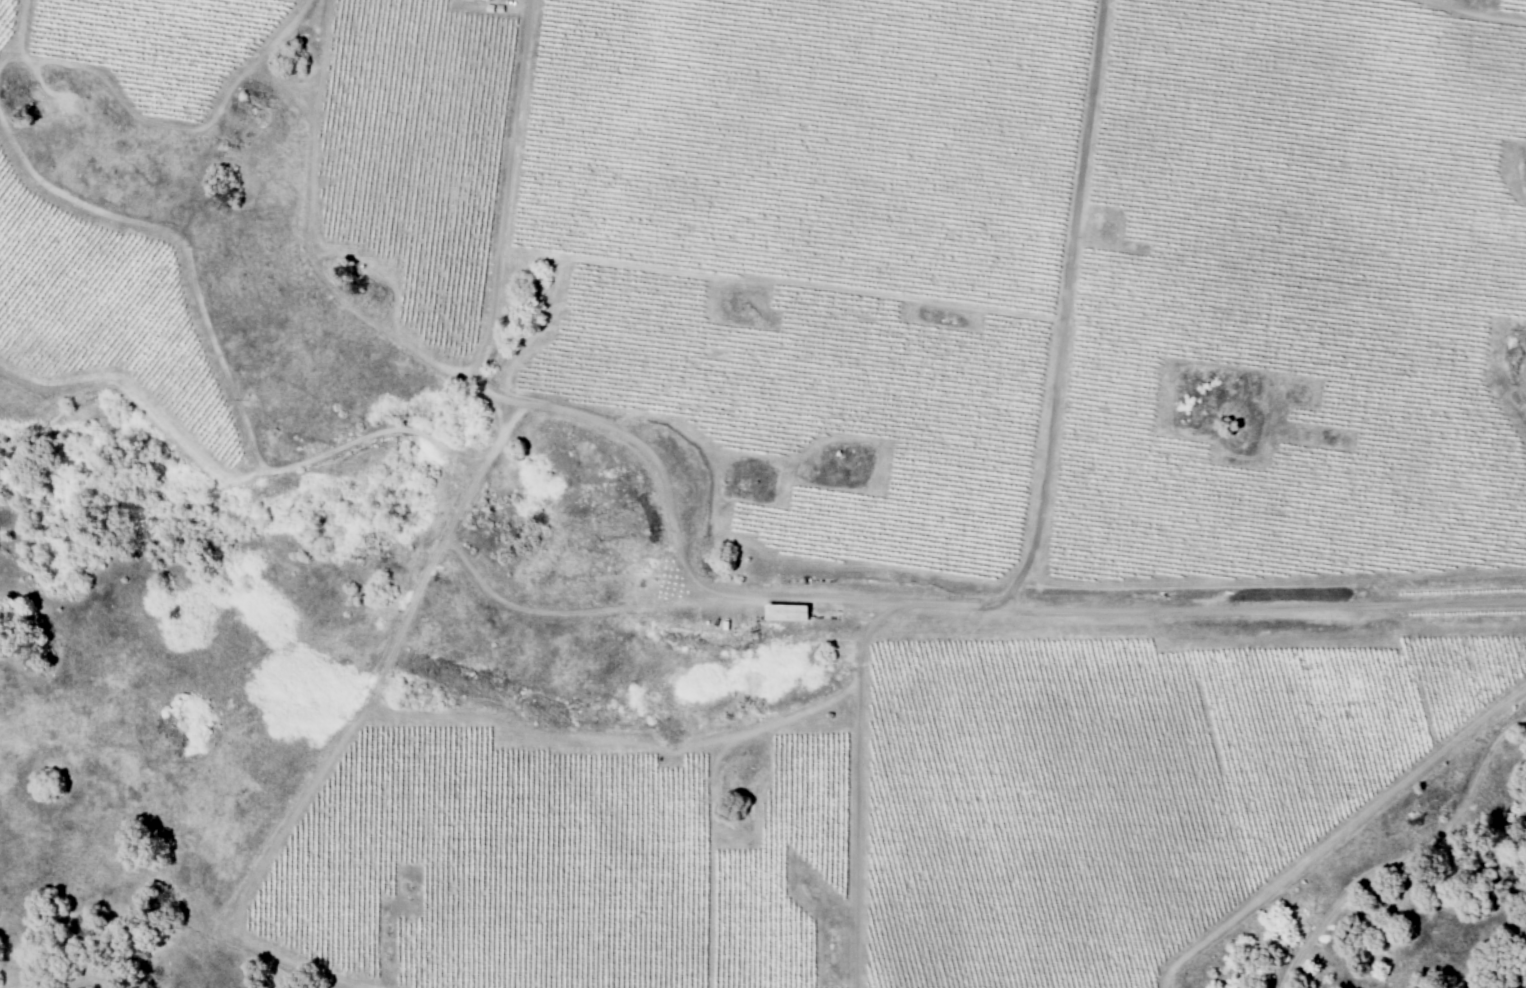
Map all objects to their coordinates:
road: (1046, 446)
crop: (949, 460)
building: (790, 612)
road: (1408, 858)

